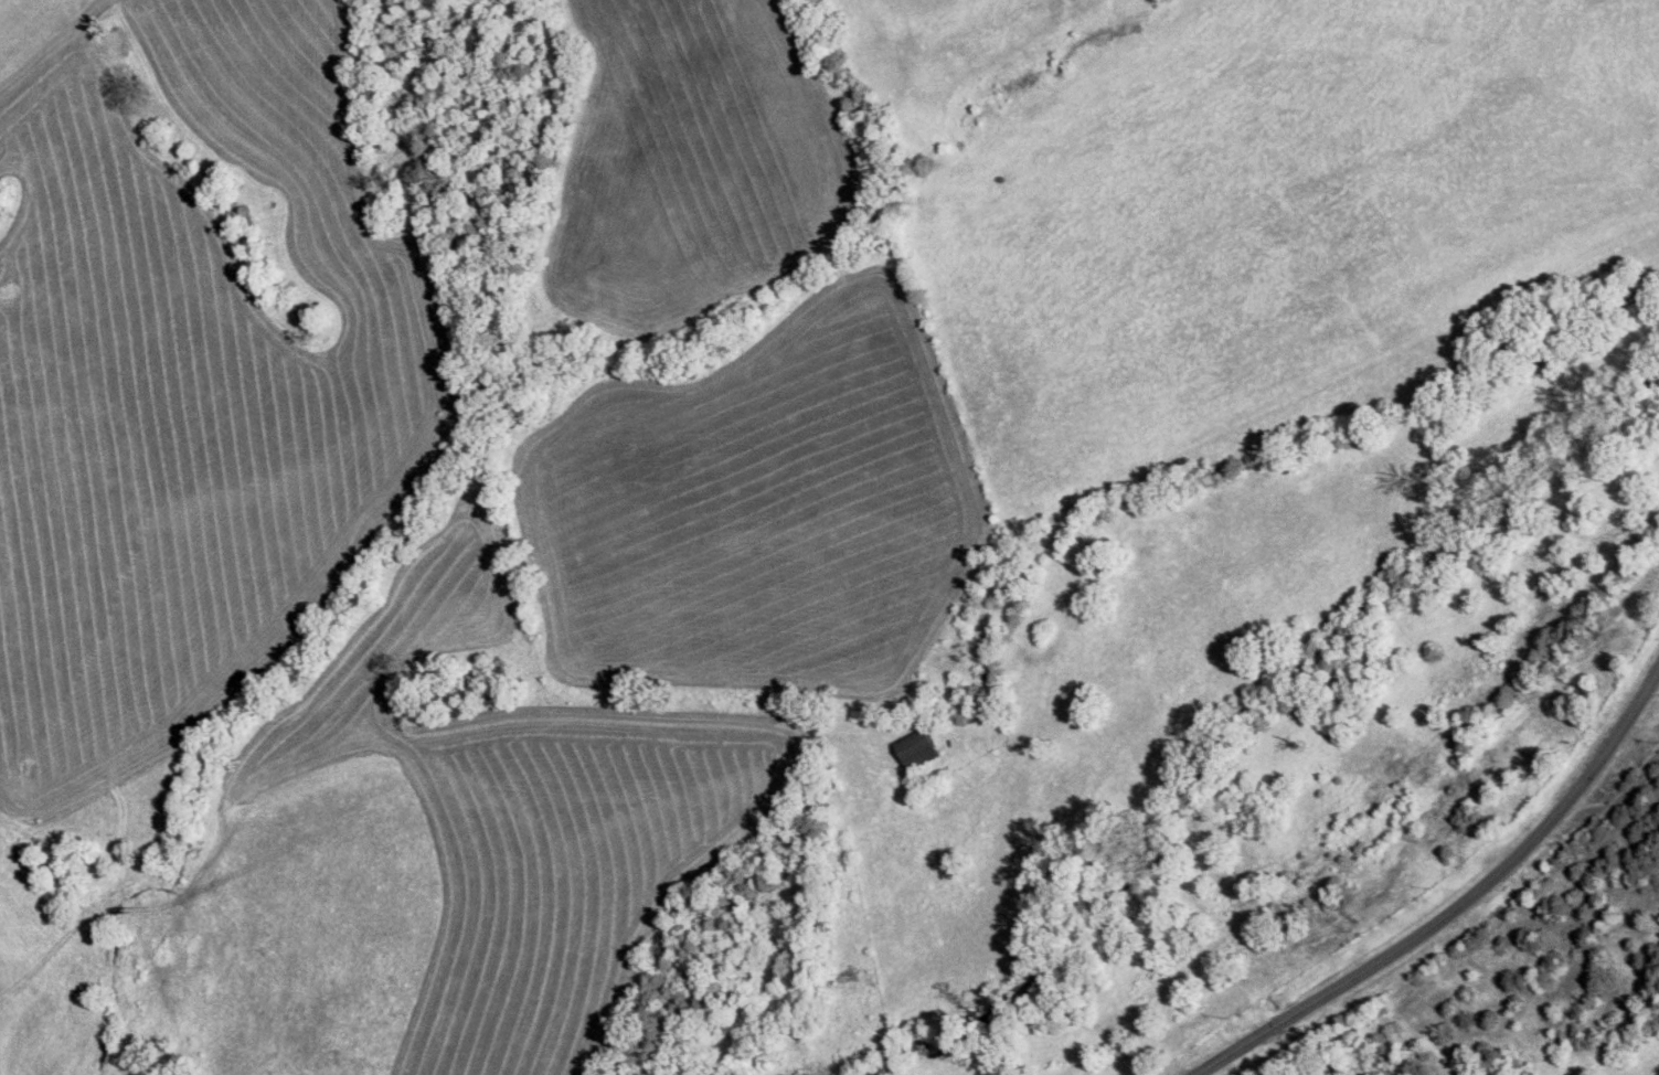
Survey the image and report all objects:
building: (916, 748)
road: (1464, 905)

